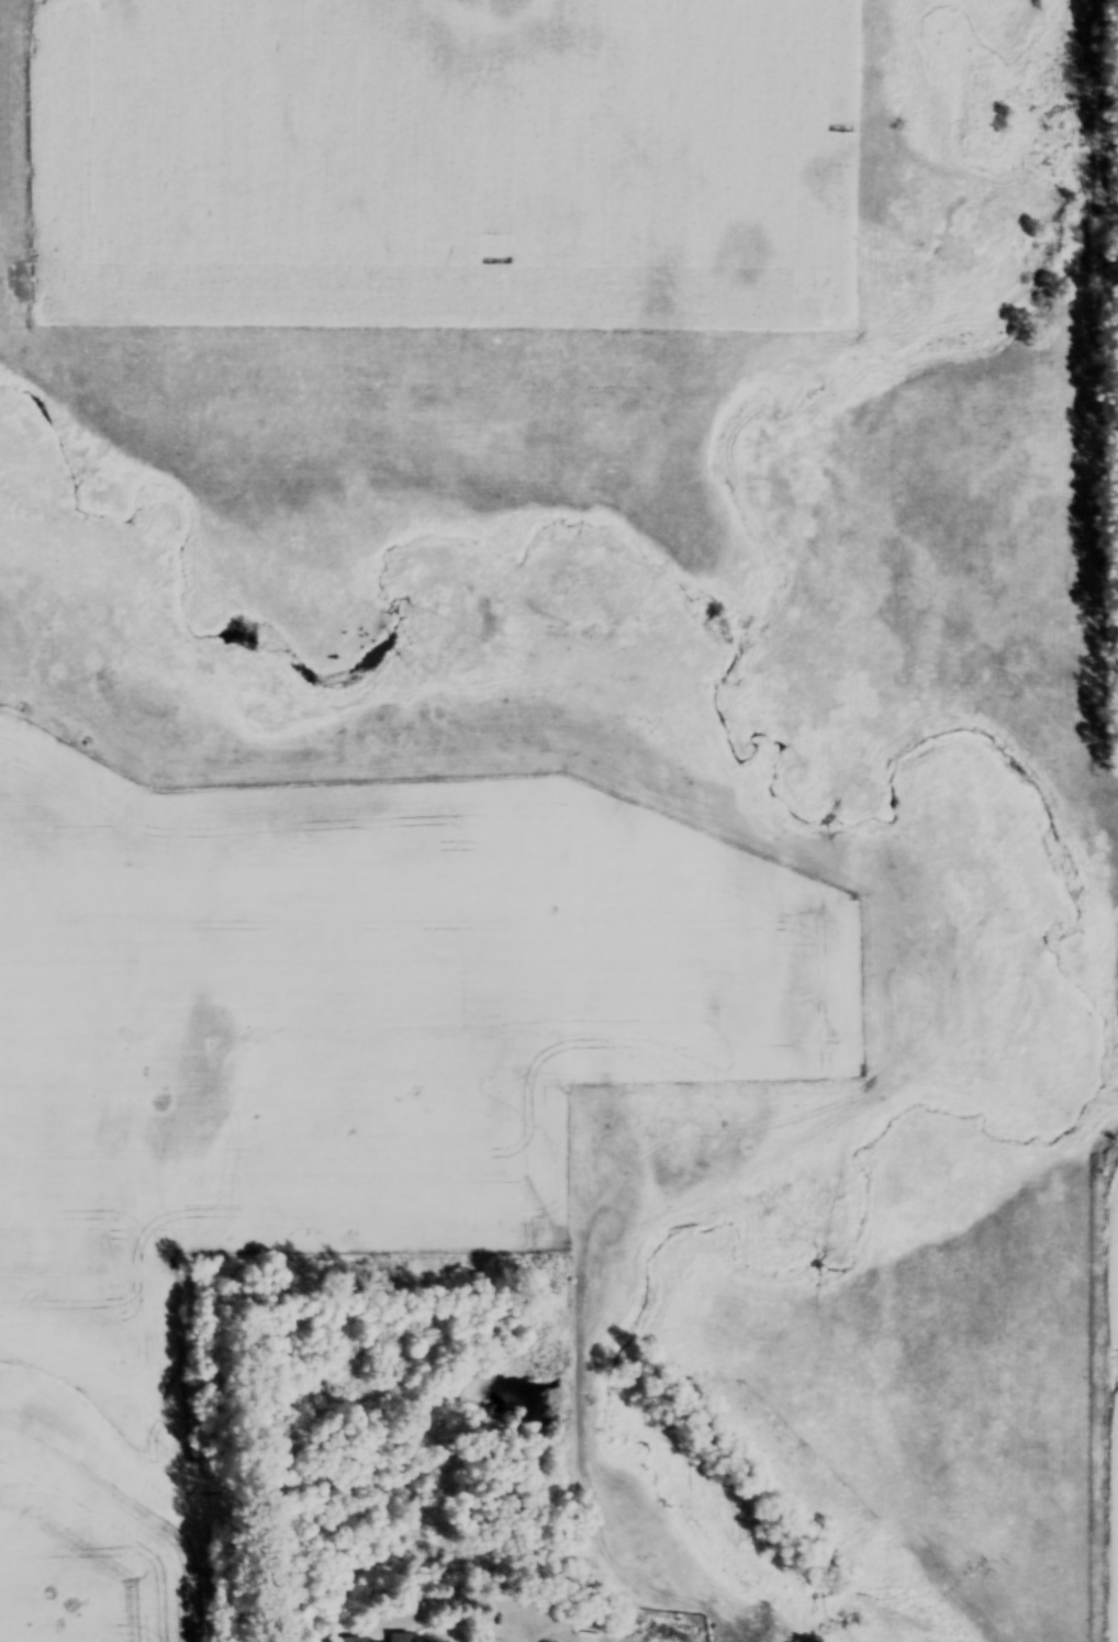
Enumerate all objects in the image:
building: (590, 1633)
building: (401, 1638)
building: (349, 1640)

